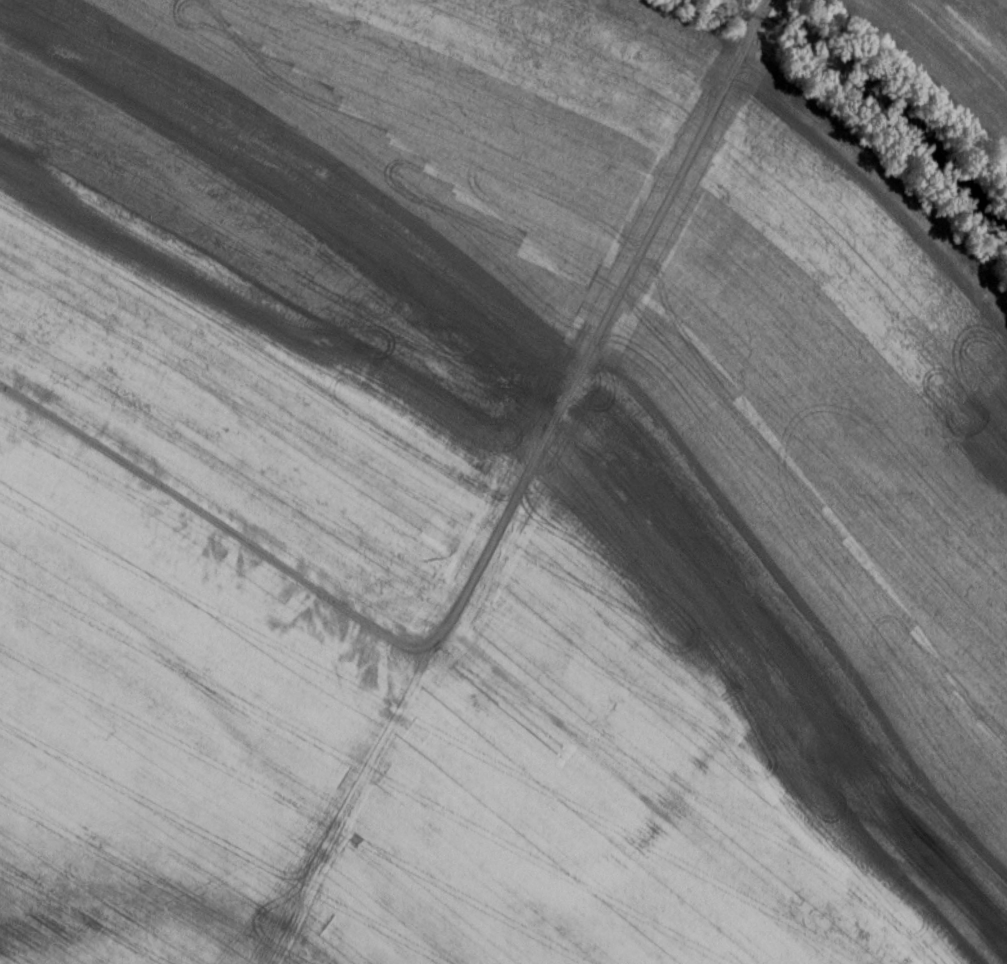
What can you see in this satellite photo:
road: (751, 26)

